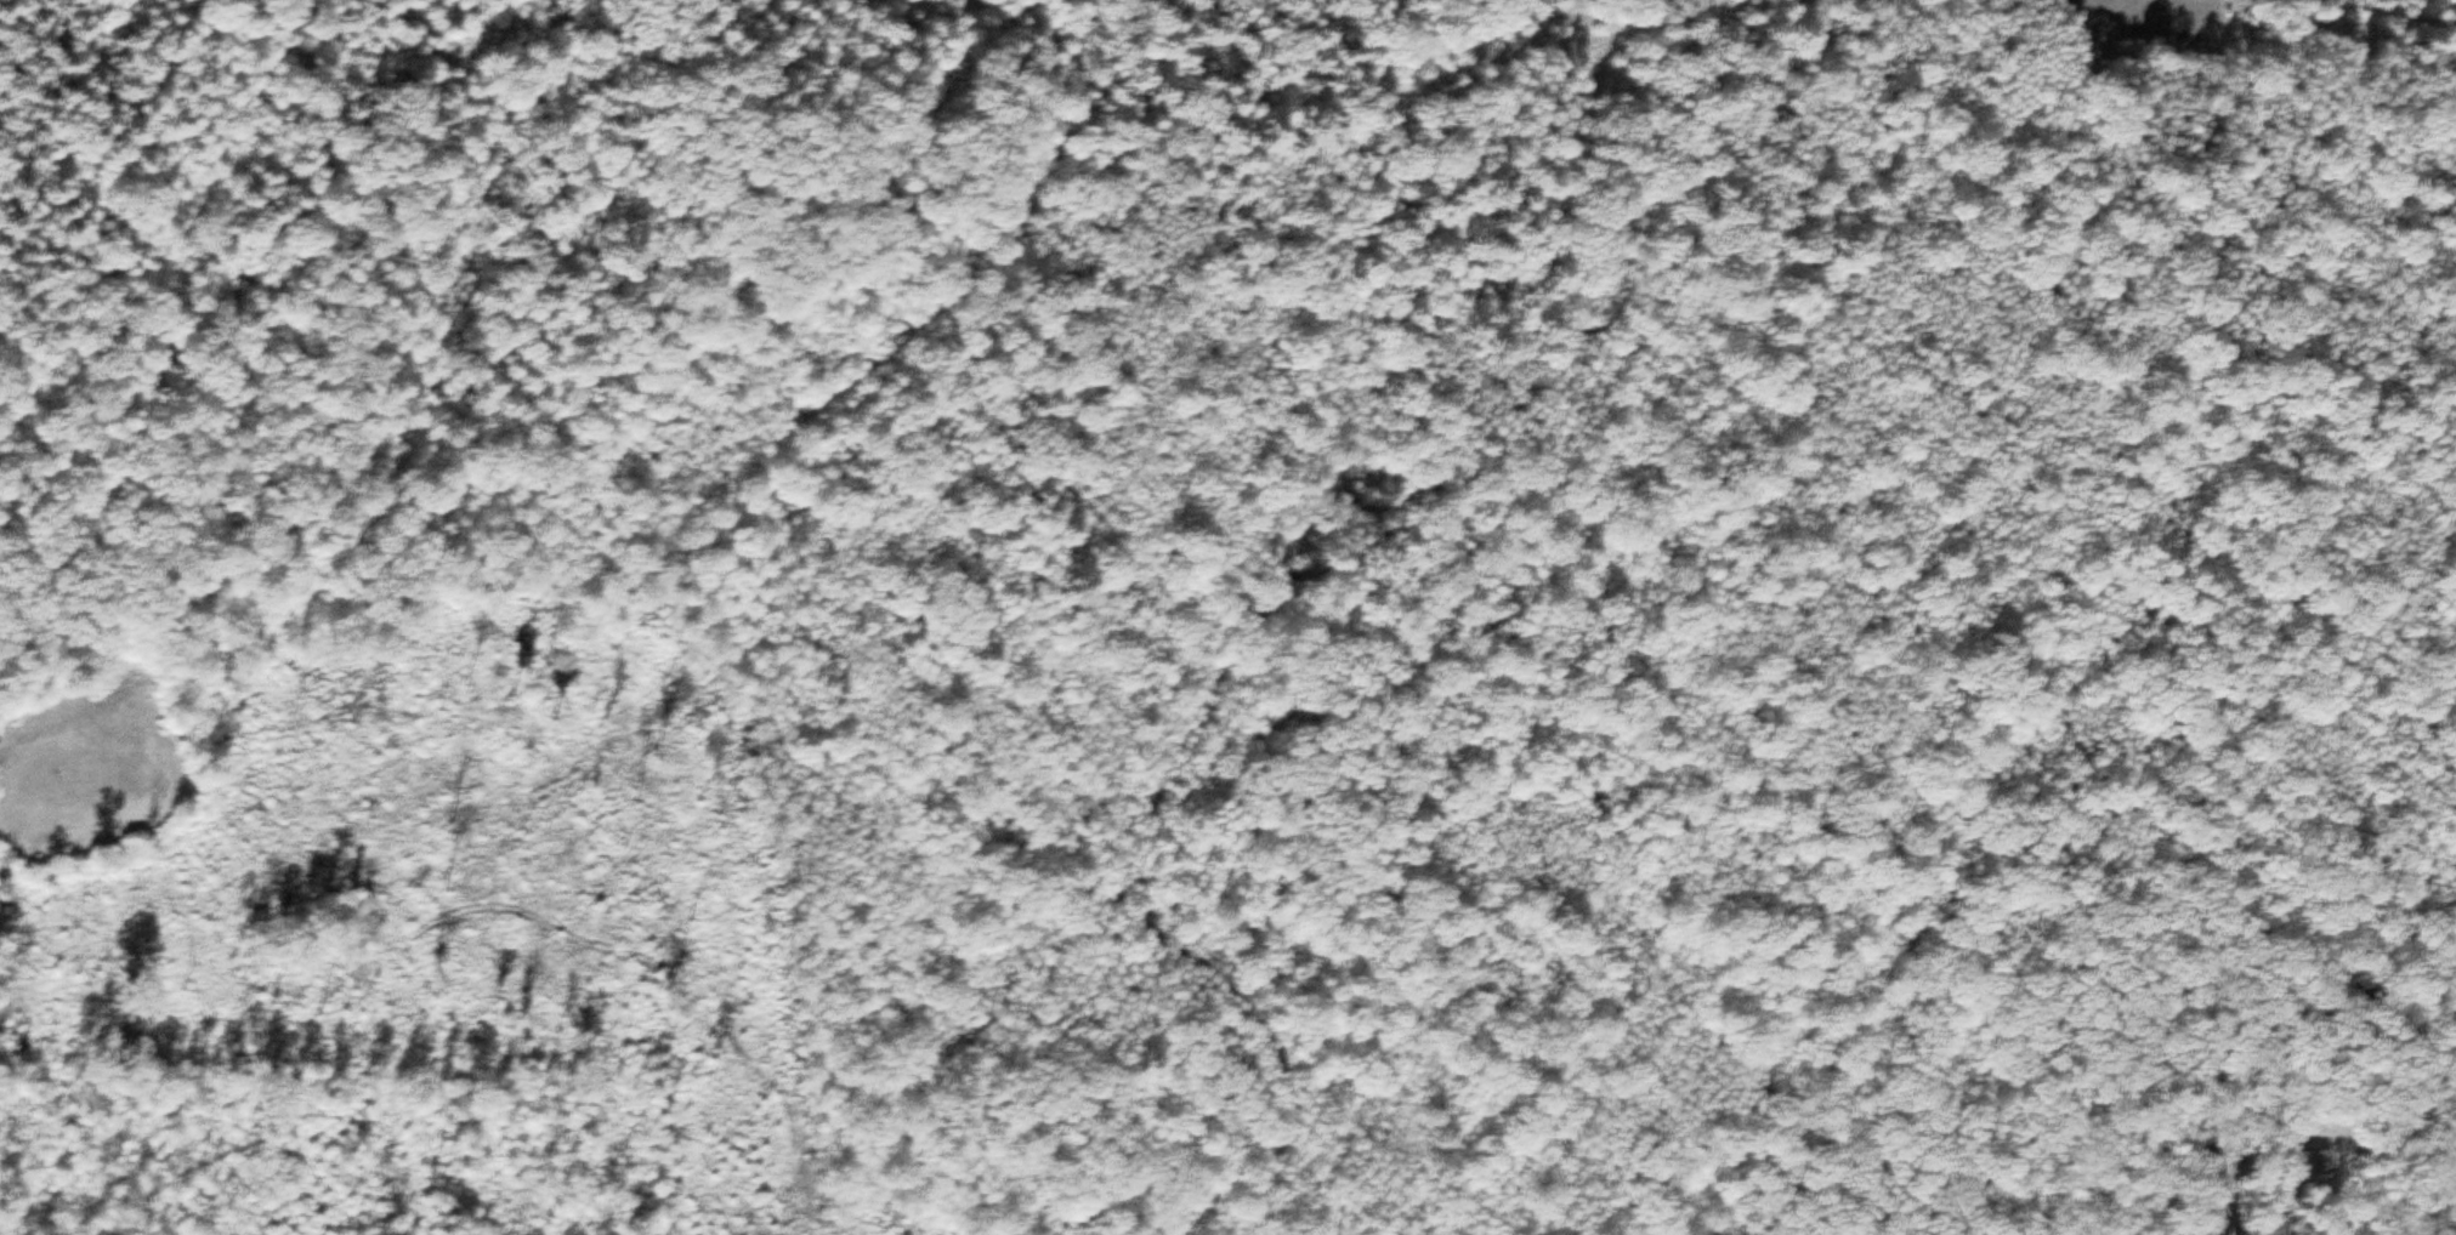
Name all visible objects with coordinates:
petroleum well: (50, 766)
building: (2318, 1163)

